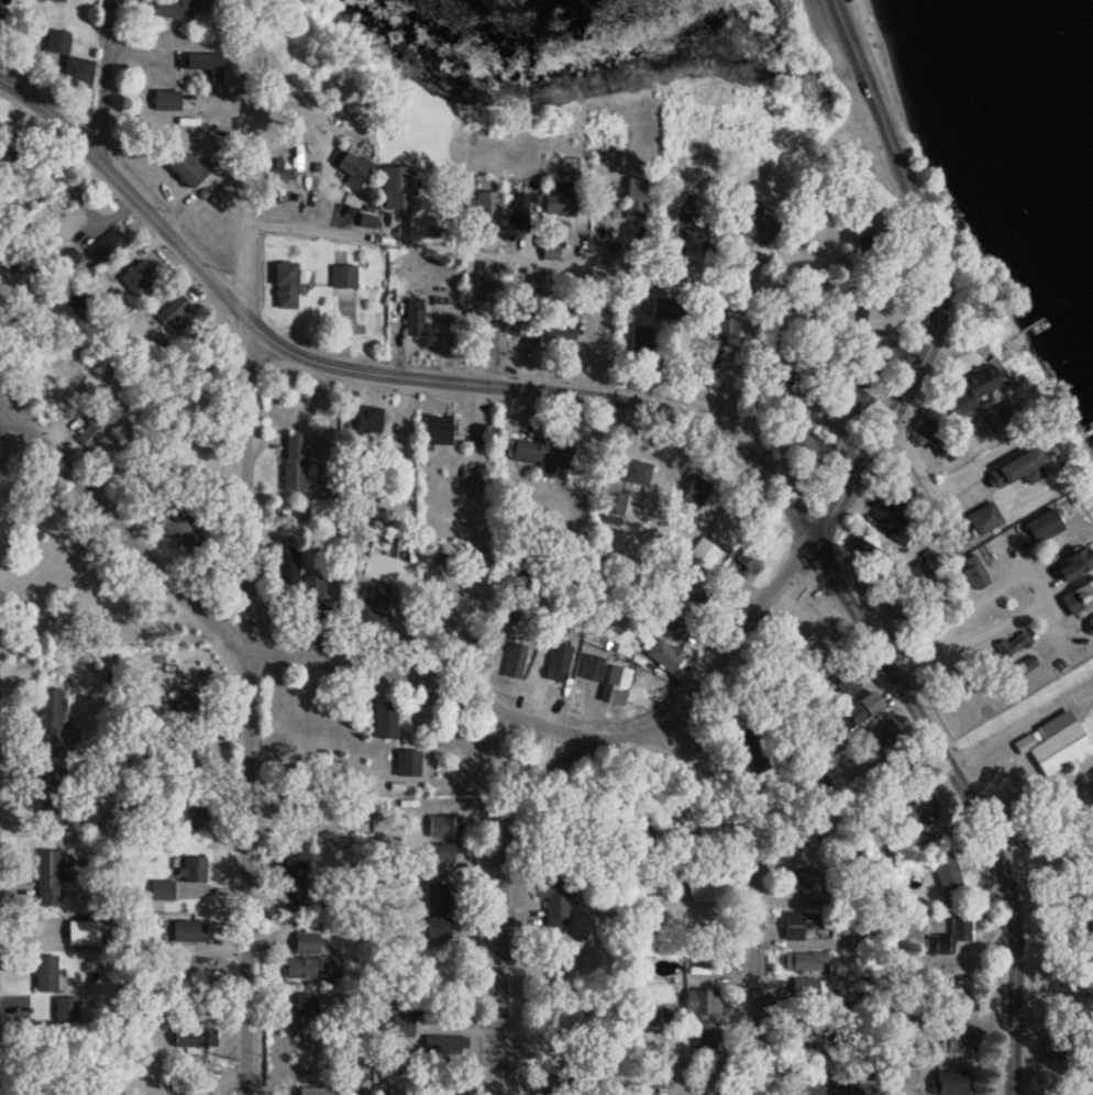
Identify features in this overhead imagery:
building: (175, 8)
building: (1, 22)
building: (56, 41)
building: (202, 64)
building: (76, 70)
road: (100, 82)
building: (164, 99)
building: (347, 165)
building: (184, 169)
building: (396, 187)
building: (633, 198)
building: (559, 199)
building: (607, 200)
building: (484, 202)
building: (287, 209)
building: (518, 210)
building: (676, 215)
road: (249, 223)
building: (752, 225)
building: (821, 234)
building: (551, 244)
building: (106, 245)
building: (731, 263)
road: (594, 266)
building: (343, 276)
road: (936, 276)
building: (135, 278)
building: (486, 284)
building: (285, 286)
building: (574, 306)
building: (667, 308)
building: (173, 316)
building: (412, 318)
building: (877, 318)
building: (472, 319)
building: (526, 325)
building: (557, 325)
building: (726, 331)
building: (639, 350)
building: (883, 360)
building: (705, 372)
road: (379, 373)
building: (972, 389)
building: (852, 397)
building: (987, 422)
building: (839, 424)
building: (360, 425)
building: (435, 430)
building: (91, 432)
building: (814, 449)
building: (540, 453)
building: (292, 463)
building: (1016, 466)
building: (634, 472)
road: (924, 478)
building: (694, 493)
building: (611, 504)
building: (318, 511)
building: (983, 519)
building: (1040, 527)
road: (121, 528)
building: (178, 530)
building: (702, 554)
building: (739, 564)
building: (1071, 566)
building: (286, 572)
road: (1034, 575)
building: (312, 585)
building: (1077, 598)
building: (374, 610)
building: (693, 619)
building: (1089, 624)
building: (468, 644)
building: (1012, 644)
building: (663, 657)
building: (557, 660)
building: (615, 684)
building: (844, 685)
building: (187, 700)
road: (247, 707)
building: (861, 708)
road: (1019, 718)
building: (49, 721)
building: (384, 721)
road: (574, 734)
building: (881, 737)
building: (1052, 742)
building: (194, 757)
building: (334, 765)
building: (397, 775)
road: (968, 799)
building: (186, 807)
road: (1050, 811)
building: (915, 814)
building: (818, 820)
building: (443, 827)
building: (441, 851)
building: (191, 869)
building: (946, 871)
building: (291, 875)
building: (46, 876)
building: (802, 881)
building: (161, 889)
building: (707, 891)
building: (552, 897)
road: (755, 900)
road: (504, 907)
building: (437, 910)
building: (799, 923)
building: (80, 932)
building: (185, 932)
building: (952, 934)
building: (306, 942)
building: (805, 961)
building: (311, 967)
building: (44, 973)
building: (805, 988)
building: (957, 1000)
building: (702, 1002)
building: (305, 1005)
building: (151, 1015)
building: (402, 1027)
building: (192, 1038)
building: (706, 1038)
building: (801, 1039)
building: (957, 1043)
building: (445, 1044)
building: (1056, 1047)
building: (949, 1083)
building: (541, 1086)
building: (1084, 1091)
building: (321, 1092)

